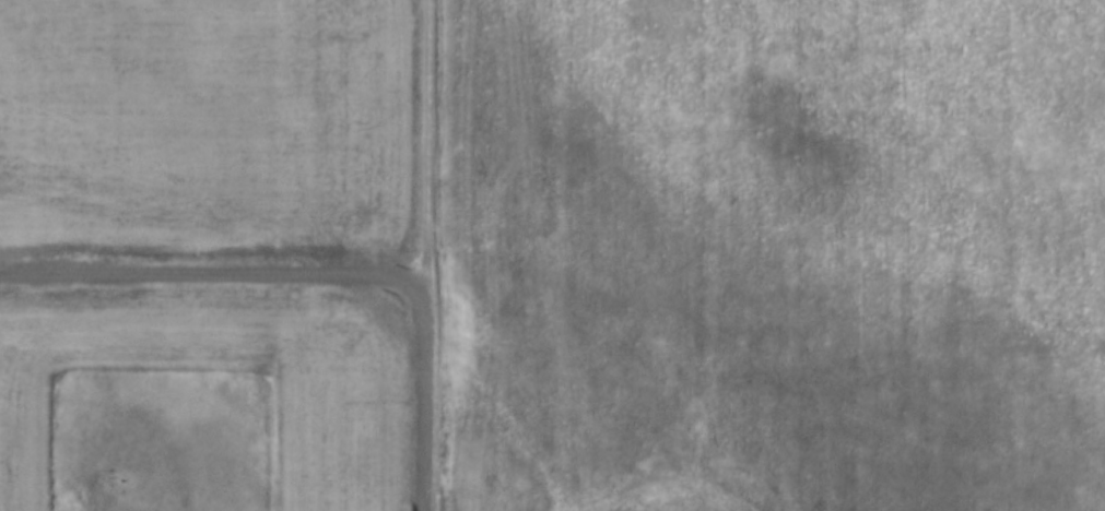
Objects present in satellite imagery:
road: (426, 255)

